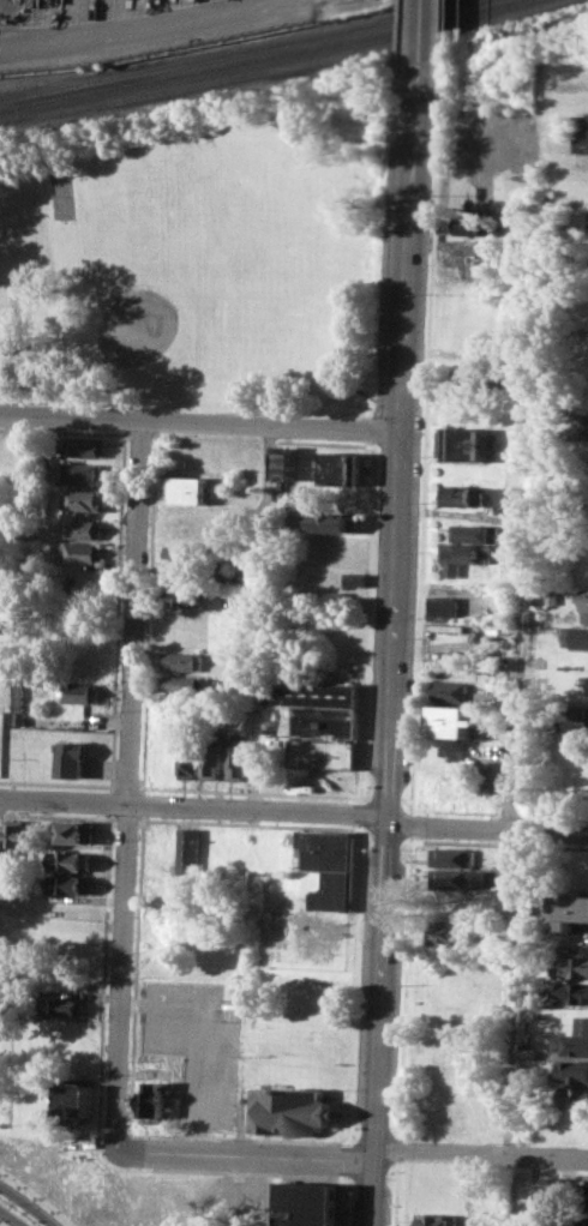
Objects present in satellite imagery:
road: (136, 30)
road: (440, 30)
road: (424, 34)
road: (394, 35)
railway: (233, 52)
railway: (258, 58)
railway: (282, 66)
building: (582, 132)
park: (66, 197)
building: (468, 223)
road: (386, 241)
building: (474, 250)
park: (222, 252)
park: (202, 253)
building: (469, 275)
building: (472, 380)
road: (367, 393)
road: (199, 420)
building: (586, 425)
road: (378, 426)
road: (64, 429)
road: (139, 434)
road: (425, 435)
road: (263, 439)
building: (468, 443)
building: (86, 445)
building: (284, 462)
building: (343, 465)
building: (84, 471)
building: (191, 489)
building: (462, 495)
building: (508, 497)
building: (83, 499)
building: (337, 521)
building: (191, 522)
building: (83, 528)
building: (473, 533)
building: (78, 551)
building: (187, 553)
building: (463, 555)
building: (187, 573)
building: (355, 578)
building: (239, 579)
building: (186, 595)
building: (582, 602)
building: (442, 607)
road: (118, 611)
road: (392, 612)
road: (149, 613)
road: (262, 617)
road: (368, 620)
building: (576, 636)
building: (184, 661)
building: (78, 668)
building: (188, 686)
building: (450, 691)
building: (78, 692)
building: (319, 693)
building: (18, 719)
building: (575, 719)
building: (318, 720)
building: (454, 721)
building: (325, 752)
building: (191, 756)
building: (212, 756)
building: (238, 756)
building: (72, 758)
road: (128, 782)
road: (58, 783)
road: (127, 786)
road: (250, 791)
road: (110, 800)
road: (143, 804)
road: (295, 810)
road: (360, 811)
road: (55, 815)
road: (110, 815)
road: (126, 818)
road: (248, 823)
road: (410, 823)
building: (73, 831)
road: (518, 831)
building: (16, 834)
road: (410, 837)
road: (470, 842)
building: (190, 849)
building: (274, 854)
building: (454, 857)
building: (70, 860)
building: (332, 867)
building: (457, 878)
building: (68, 884)
building: (569, 908)
building: (448, 931)
building: (572, 966)
road: (104, 970)
road: (136, 975)
road: (354, 984)
building: (571, 991)
building: (64, 1005)
building: (532, 1014)
building: (575, 1039)
parking lot: (196, 1044)
building: (528, 1053)
building: (570, 1071)
building: (572, 1096)
building: (76, 1100)
building: (155, 1100)
building: (293, 1111)
road: (110, 1131)
road: (397, 1134)
road: (236, 1137)
road: (397, 1149)
road: (128, 1150)
road: (478, 1152)
road: (242, 1155)
road: (346, 1159)
road: (235, 1171)
road: (240, 1190)
building: (554, 1190)
road: (370, 1191)
road: (395, 1192)
building: (584, 1195)
road: (35, 1197)
building: (522, 1197)
road: (343, 1200)
street lamp: (7, 1203)
building: (311, 1203)
road: (24, 1206)
building: (434, 1218)
road: (6, 1220)
building: (576, 1221)

